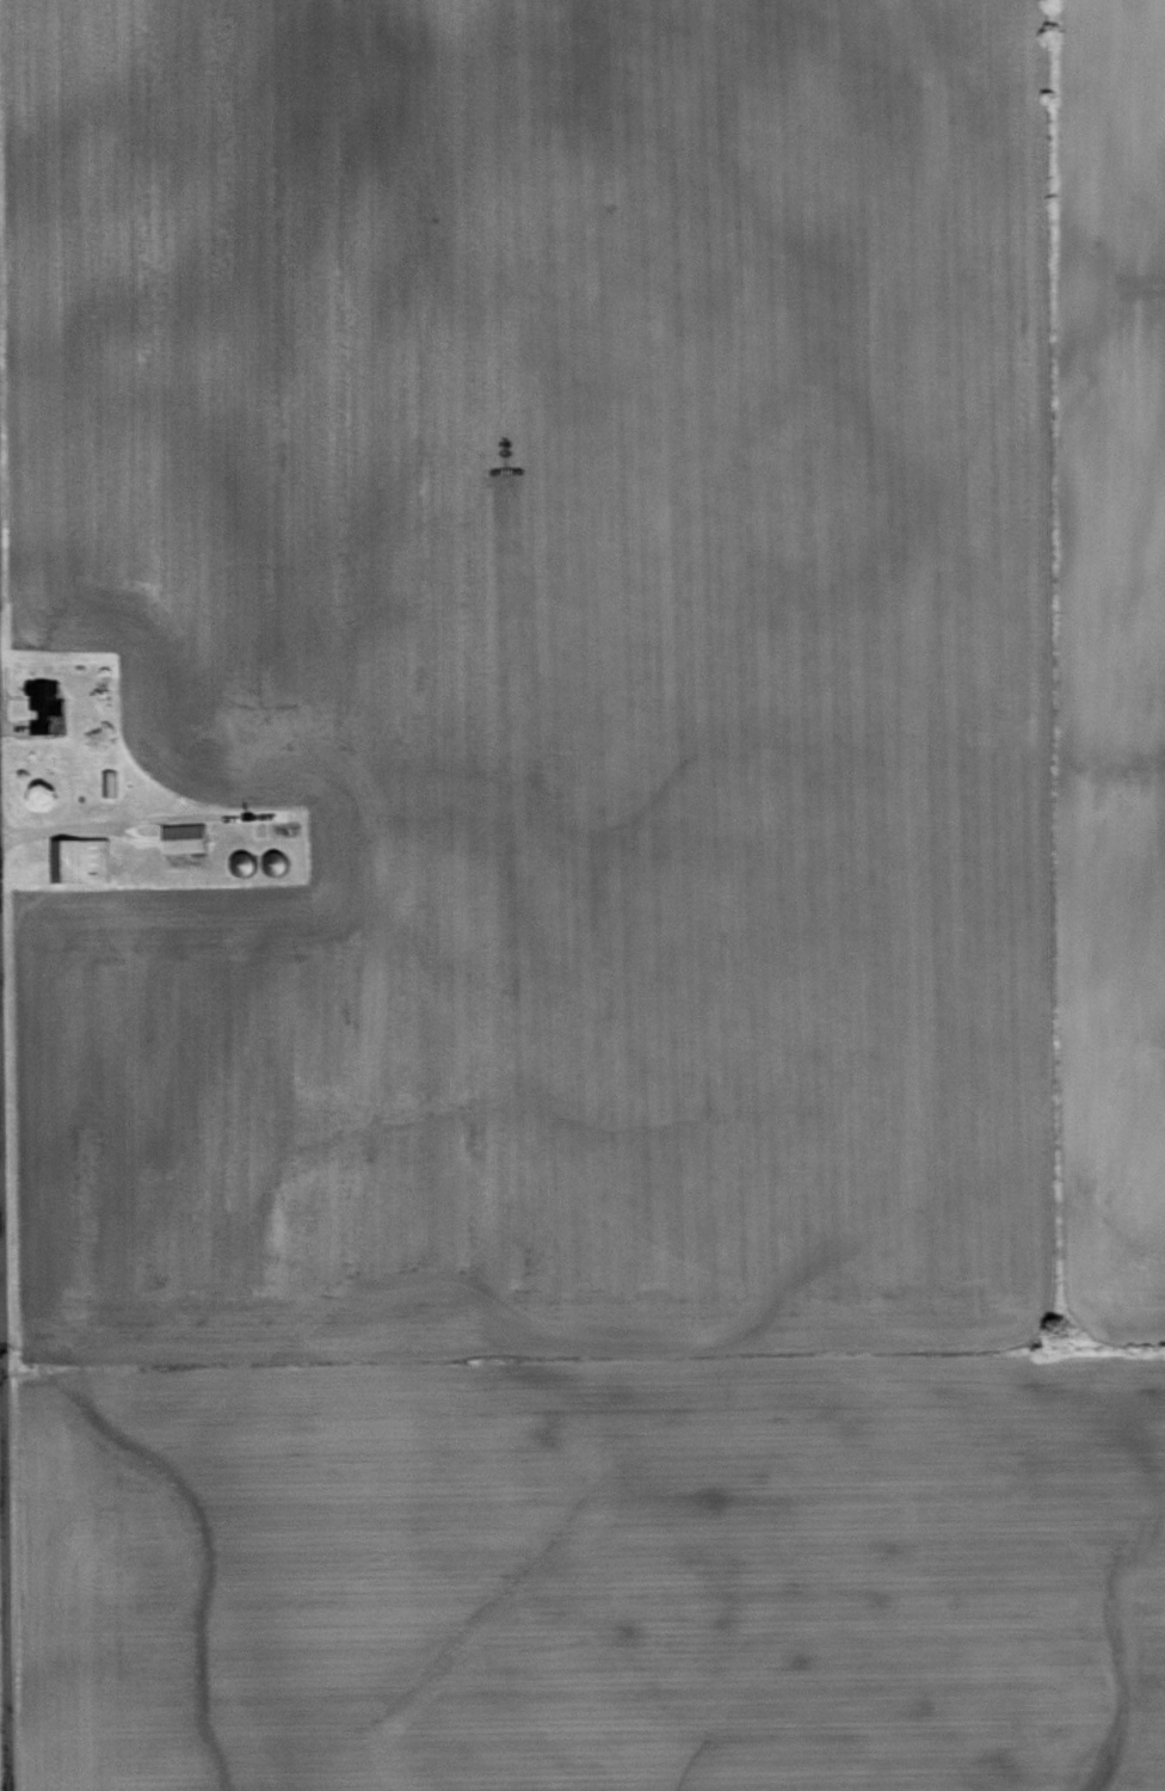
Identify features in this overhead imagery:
building: (44, 697)
road: (135, 824)
building: (183, 837)
building: (79, 858)
road: (2, 1636)

